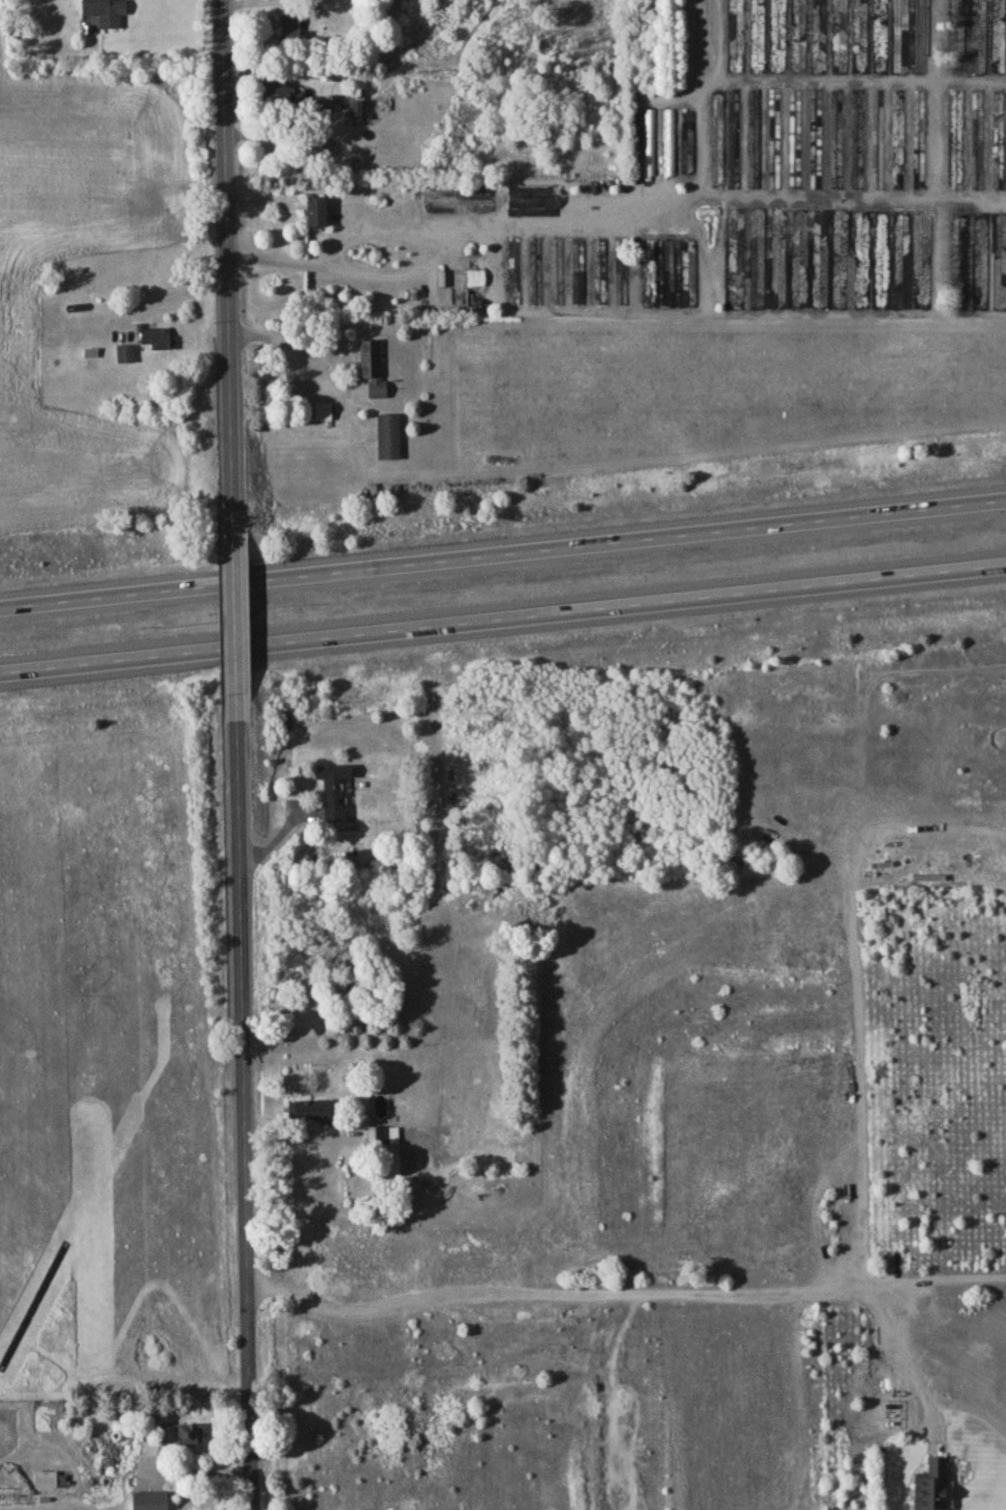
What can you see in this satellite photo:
building: (104, 11)
building: (289, 28)
building: (279, 91)
building: (354, 107)
building: (668, 140)
building: (532, 196)
building: (315, 210)
road: (440, 251)
road: (232, 260)
road: (168, 296)
building: (155, 336)
road: (296, 346)
building: (371, 367)
building: (321, 410)
road: (503, 557)
road: (503, 618)
road: (238, 622)
building: (332, 787)
road: (851, 993)
building: (311, 1109)
road: (244, 1117)
building: (382, 1134)
road: (322, 1151)
road: (261, 1210)
road: (295, 1248)
road: (621, 1297)
building: (183, 1434)
building: (49, 1478)
building: (929, 1485)
building: (148, 1500)

